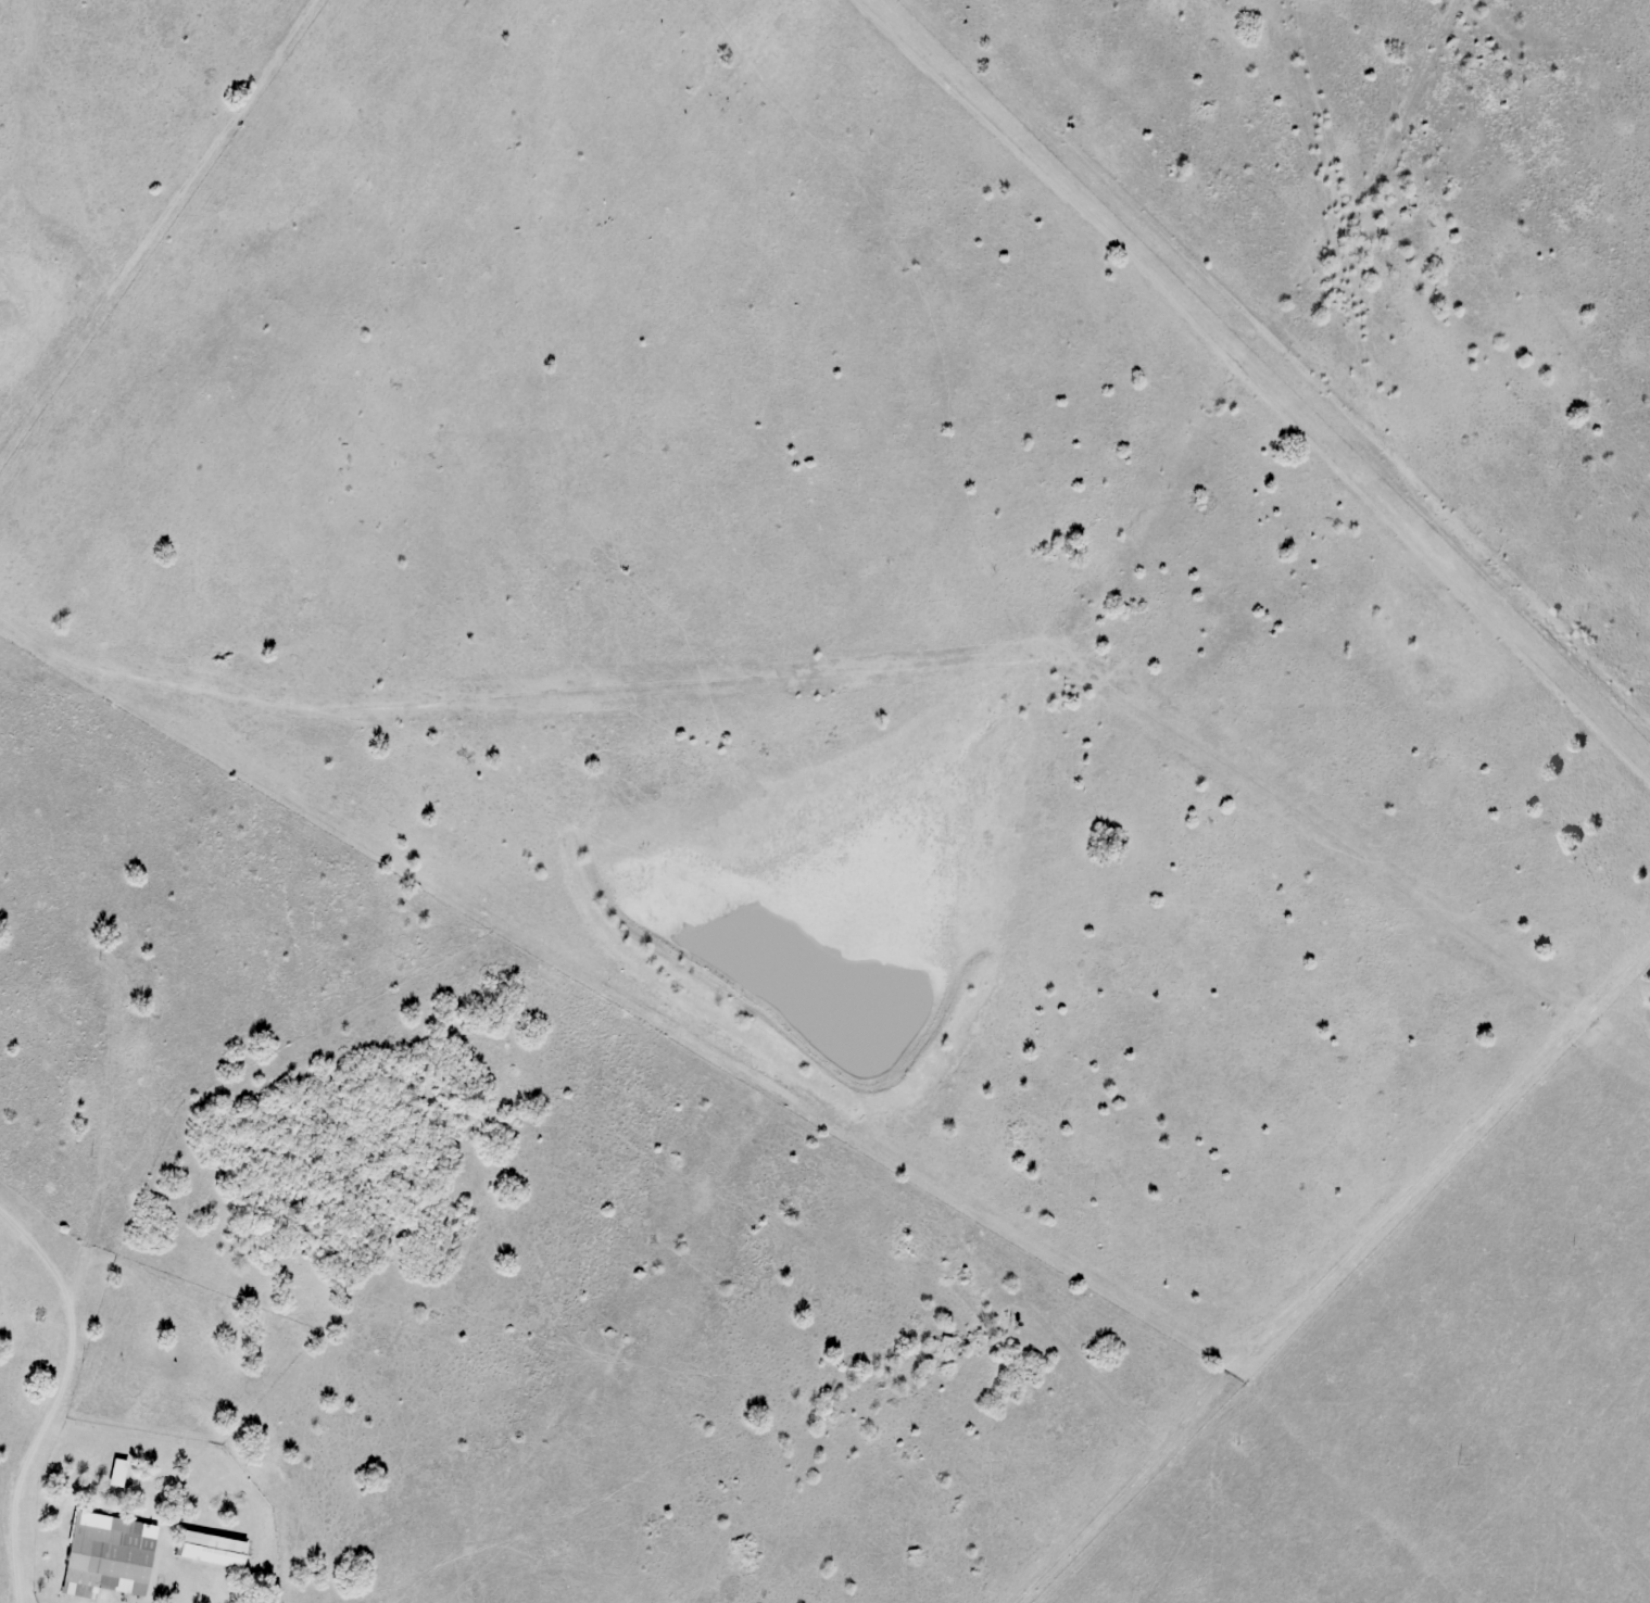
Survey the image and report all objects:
building: (117, 1472)
building: (212, 1548)
building: (106, 1554)

